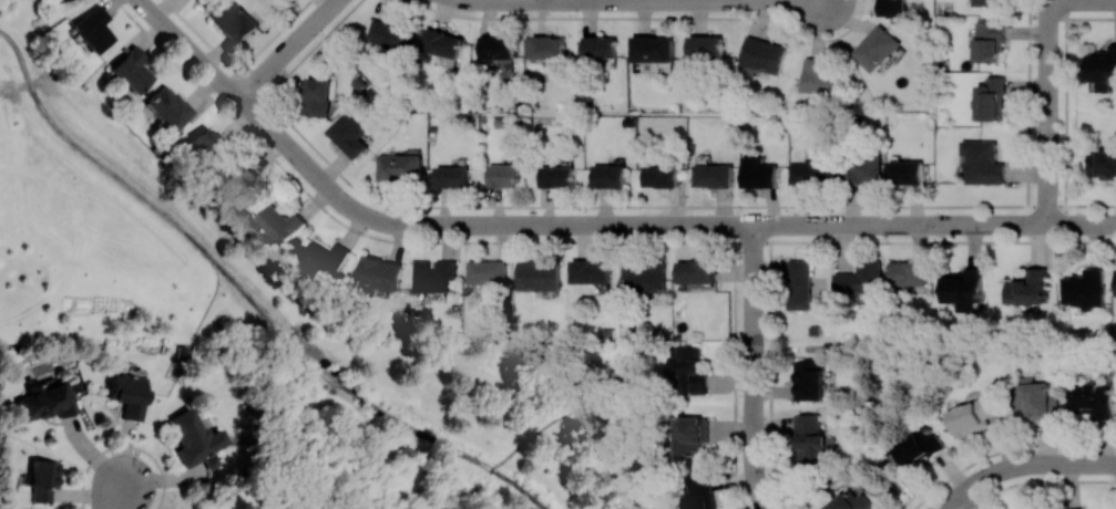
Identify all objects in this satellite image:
building: (55, 0)
road: (523, 0)
road: (688, 0)
road: (1082, 1)
building: (992, 2)
building: (893, 8)
building: (233, 21)
building: (92, 28)
building: (390, 35)
building: (442, 42)
building: (989, 42)
building: (498, 46)
building: (602, 46)
building: (549, 48)
building: (877, 48)
road: (286, 49)
building: (653, 49)
building: (706, 49)
building: (764, 54)
road: (1048, 55)
building: (131, 69)
building: (1102, 70)
building: (821, 77)
building: (317, 95)
building: (991, 98)
building: (167, 106)
road: (1048, 118)
road: (1064, 120)
building: (347, 134)
building: (204, 147)
building: (983, 162)
building: (1103, 164)
building: (400, 167)
building: (860, 169)
building: (811, 172)
building: (905, 172)
building: (758, 173)
building: (503, 175)
building: (610, 175)
building: (713, 175)
road: (1048, 175)
building: (451, 176)
building: (556, 176)
building: (662, 176)
building: (244, 190)
road: (1082, 222)
building: (281, 224)
road: (551, 224)
park: (115, 226)
building: (326, 258)
building: (591, 271)
building: (696, 271)
building: (379, 272)
building: (908, 273)
building: (434, 274)
building: (488, 274)
building: (540, 274)
building: (643, 277)
building: (860, 278)
building: (799, 283)
building: (963, 285)
building: (1027, 287)
building: (1083, 289)
road: (754, 367)
building: (688, 370)
building: (809, 380)
building: (127, 394)
building: (1034, 398)
building: (1094, 398)
building: (45, 399)
building: (972, 415)
park: (441, 424)
building: (689, 434)
building: (195, 438)
building: (809, 440)
building: (919, 446)
road: (1003, 449)
road: (1023, 465)
building: (42, 478)
road: (1037, 479)
road: (117, 494)
building: (697, 494)
building: (850, 501)
building: (1077, 508)

